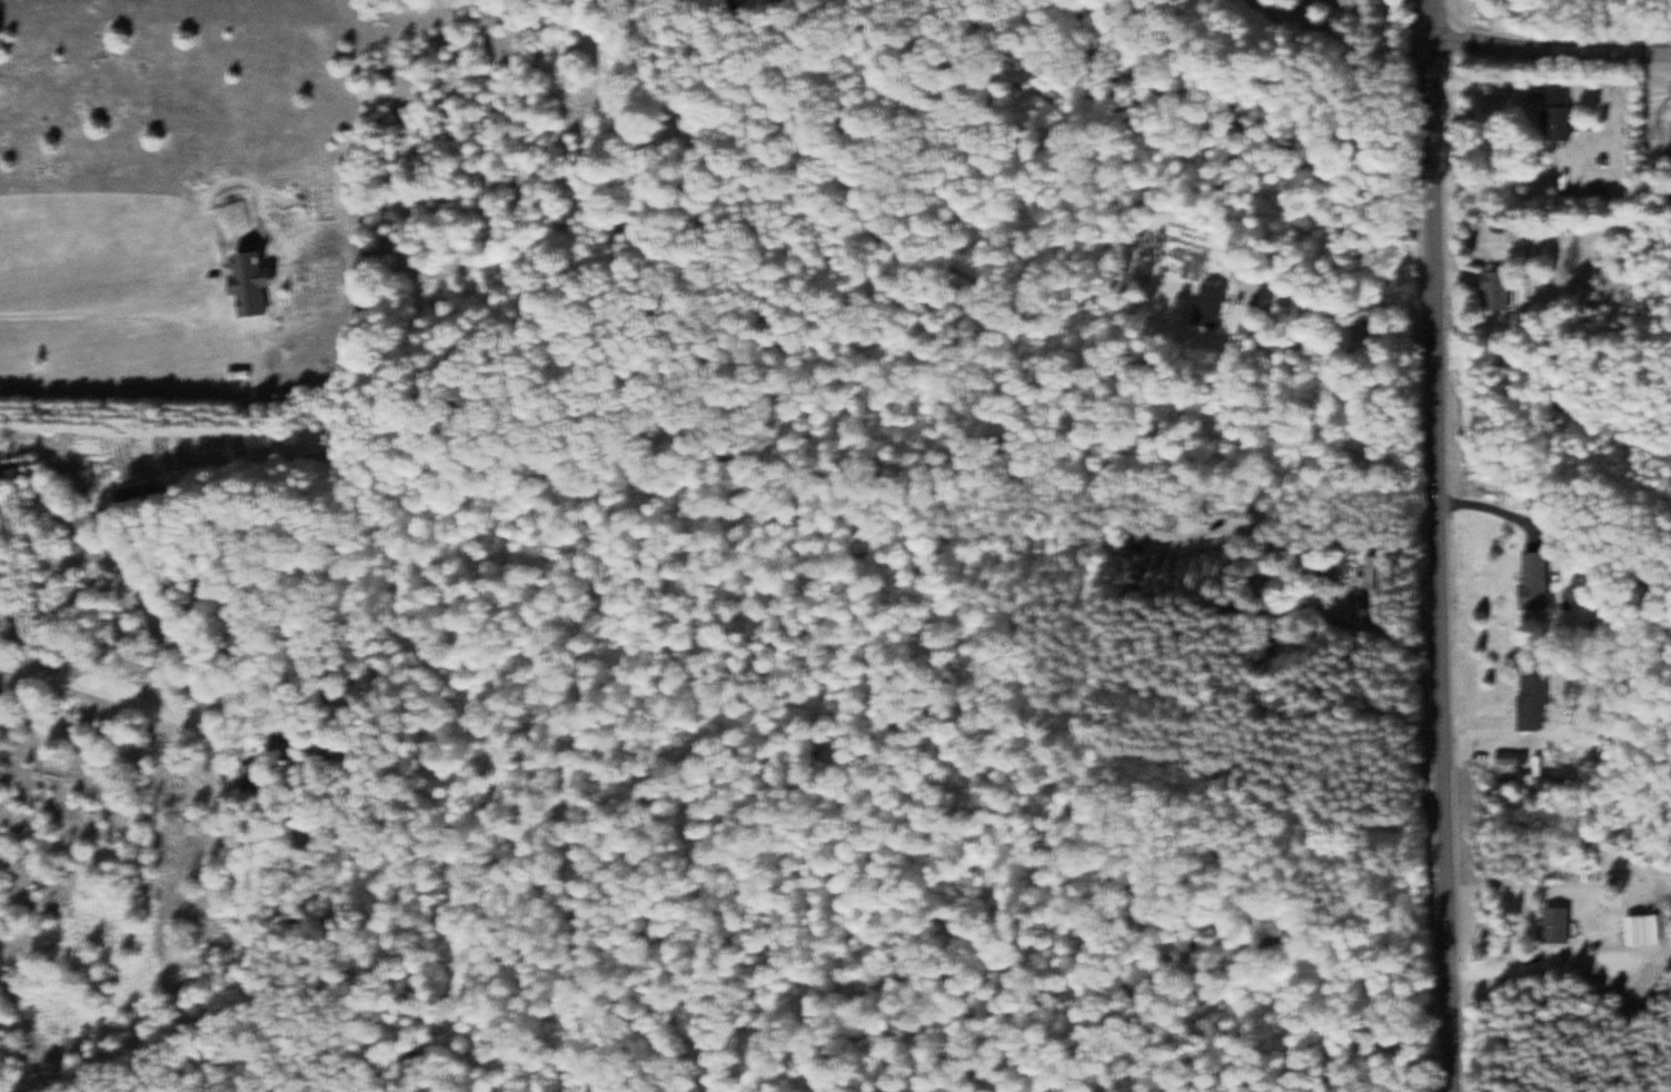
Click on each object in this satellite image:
road: (1552, 50)
building: (1563, 111)
building: (1505, 288)
building: (1219, 302)
road: (1445, 545)
building: (1542, 578)
building: (1376, 584)
building: (1540, 701)
building: (1563, 924)
building: (1649, 929)

